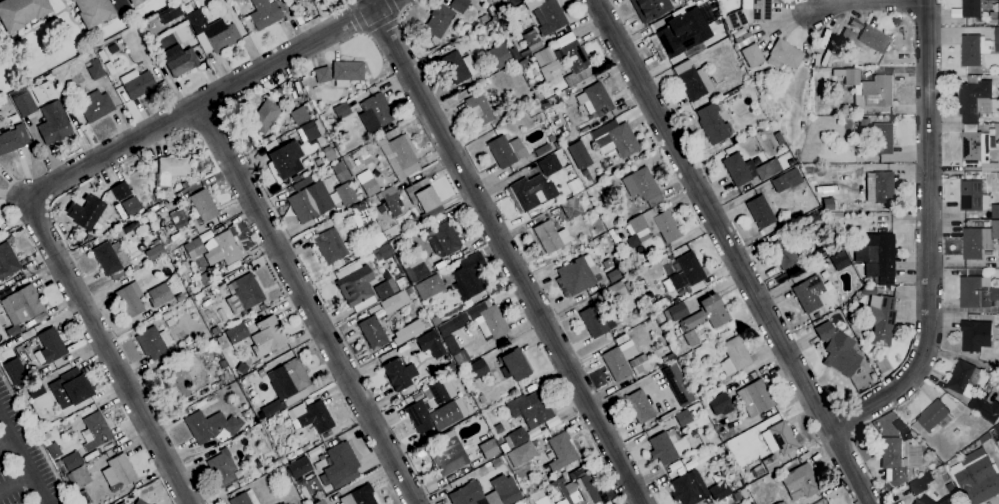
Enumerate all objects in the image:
building: (307, 0)
building: (693, 0)
building: (134, 2)
road: (831, 4)
road: (123, 5)
building: (459, 5)
building: (311, 7)
building: (650, 8)
building: (998, 8)
building: (968, 10)
building: (94, 11)
building: (21, 12)
building: (169, 13)
building: (265, 13)
building: (748, 13)
building: (494, 14)
building: (551, 17)
building: (483, 18)
building: (439, 20)
building: (993, 22)
building: (484, 27)
building: (214, 31)
building: (145, 36)
building: (671, 36)
building: (848, 36)
building: (741, 37)
building: (873, 39)
building: (996, 39)
building: (532, 41)
building: (693, 49)
building: (974, 50)
building: (784, 54)
building: (498, 55)
building: (752, 55)
building: (182, 59)
building: (574, 59)
building: (546, 62)
building: (458, 67)
building: (95, 69)
building: (347, 72)
building: (322, 74)
building: (693, 81)
building: (137, 83)
building: (868, 88)
building: (42, 91)
road: (206, 99)
building: (597, 100)
building: (976, 100)
building: (24, 103)
building: (96, 105)
building: (479, 109)
building: (342, 110)
building: (374, 112)
building: (301, 114)
building: (267, 116)
building: (864, 121)
building: (54, 122)
building: (713, 123)
building: (312, 130)
building: (994, 131)
building: (13, 138)
building: (254, 138)
building: (551, 138)
building: (615, 138)
building: (882, 138)
building: (556, 145)
building: (347, 146)
building: (976, 146)
building: (543, 149)
building: (502, 152)
building: (328, 153)
building: (399, 155)
building: (579, 155)
building: (283, 157)
building: (607, 162)
building: (548, 164)
building: (748, 169)
building: (171, 170)
building: (340, 172)
building: (585, 172)
building: (998, 176)
building: (589, 177)
building: (787, 180)
building: (366, 183)
building: (185, 184)
building: (642, 186)
building: (879, 187)
building: (532, 191)
building: (346, 194)
building: (423, 194)
building: (158, 196)
building: (972, 196)
building: (391, 200)
building: (310, 202)
building: (828, 203)
building: (167, 204)
building: (131, 205)
building: (201, 207)
building: (571, 207)
building: (760, 211)
building: (87, 212)
building: (995, 212)
building: (363, 213)
building: (179, 219)
building: (832, 221)
building: (812, 222)
building: (132, 225)
building: (654, 225)
building: (153, 231)
building: (550, 236)
road: (928, 238)
building: (443, 239)
building: (616, 239)
building: (979, 241)
building: (155, 242)
building: (375, 243)
building: (330, 246)
building: (194, 248)
building: (224, 248)
road: (507, 251)
building: (563, 251)
road: (733, 251)
building: (155, 252)
building: (385, 252)
building: (784, 253)
building: (877, 255)
building: (111, 258)
building: (7, 260)
building: (839, 260)
building: (998, 260)
building: (607, 263)
building: (412, 266)
building: (685, 272)
building: (578, 275)
building: (614, 275)
building: (469, 276)
building: (355, 285)
building: (629, 285)
building: (390, 286)
building: (429, 287)
building: (616, 290)
building: (868, 290)
building: (247, 291)
building: (810, 292)
building: (977, 292)
building: (160, 294)
building: (180, 297)
building: (130, 299)
building: (398, 300)
road: (307, 304)
building: (20, 309)
building: (373, 309)
building: (676, 311)
building: (706, 314)
building: (166, 315)
building: (175, 319)
building: (881, 320)
building: (170, 321)
building: (596, 321)
building: (492, 322)
building: (23, 327)
building: (409, 331)
building: (373, 332)
building: (237, 333)
building: (267, 336)
building: (976, 336)
building: (691, 338)
building: (621, 339)
building: (222, 341)
building: (154, 342)
building: (430, 344)
building: (451, 344)
building: (210, 345)
building: (49, 346)
building: (838, 349)
road: (106, 351)
building: (735, 356)
building: (669, 357)
building: (449, 359)
building: (619, 359)
building: (223, 362)
building: (514, 365)
building: (448, 367)
building: (242, 368)
building: (477, 368)
building: (399, 374)
building: (426, 379)
building: (964, 379)
building: (285, 383)
building: (677, 384)
building: (990, 385)
building: (76, 386)
building: (35, 388)
building: (440, 391)
building: (481, 398)
building: (755, 398)
building: (308, 400)
building: (718, 403)
building: (640, 406)
building: (530, 408)
building: (985, 409)
building: (247, 414)
building: (311, 416)
building: (932, 416)
building: (420, 417)
building: (683, 417)
building: (551, 421)
building: (211, 425)
building: (277, 428)
building: (498, 428)
building: (997, 429)
building: (96, 430)
building: (533, 431)
building: (906, 435)
building: (301, 438)
building: (779, 438)
road: (6, 439)
building: (514, 439)
building: (303, 448)
building: (663, 448)
building: (54, 449)
building: (488, 449)
building: (561, 451)
building: (521, 453)
building: (448, 456)
building: (281, 457)
road: (24, 458)
parking lot: (23, 460)
building: (72, 460)
building: (893, 460)
building: (257, 462)
building: (496, 462)
building: (770, 463)
building: (298, 466)
building: (340, 466)
building: (222, 467)
building: (61, 468)
building: (122, 469)
building: (83, 475)
road: (16, 480)
building: (979, 482)
building: (799, 483)
building: (920, 485)
building: (690, 487)
building: (148, 489)
building: (505, 489)
building: (584, 490)
building: (719, 491)
building: (468, 494)
building: (359, 496)
building: (737, 496)
building: (82, 498)
building: (244, 498)
building: (539, 498)
building: (140, 501)
building: (951, 501)
building: (320, 502)
building: (917, 502)
building: (280, 503)
building: (283, 503)
building: (752, 503)

